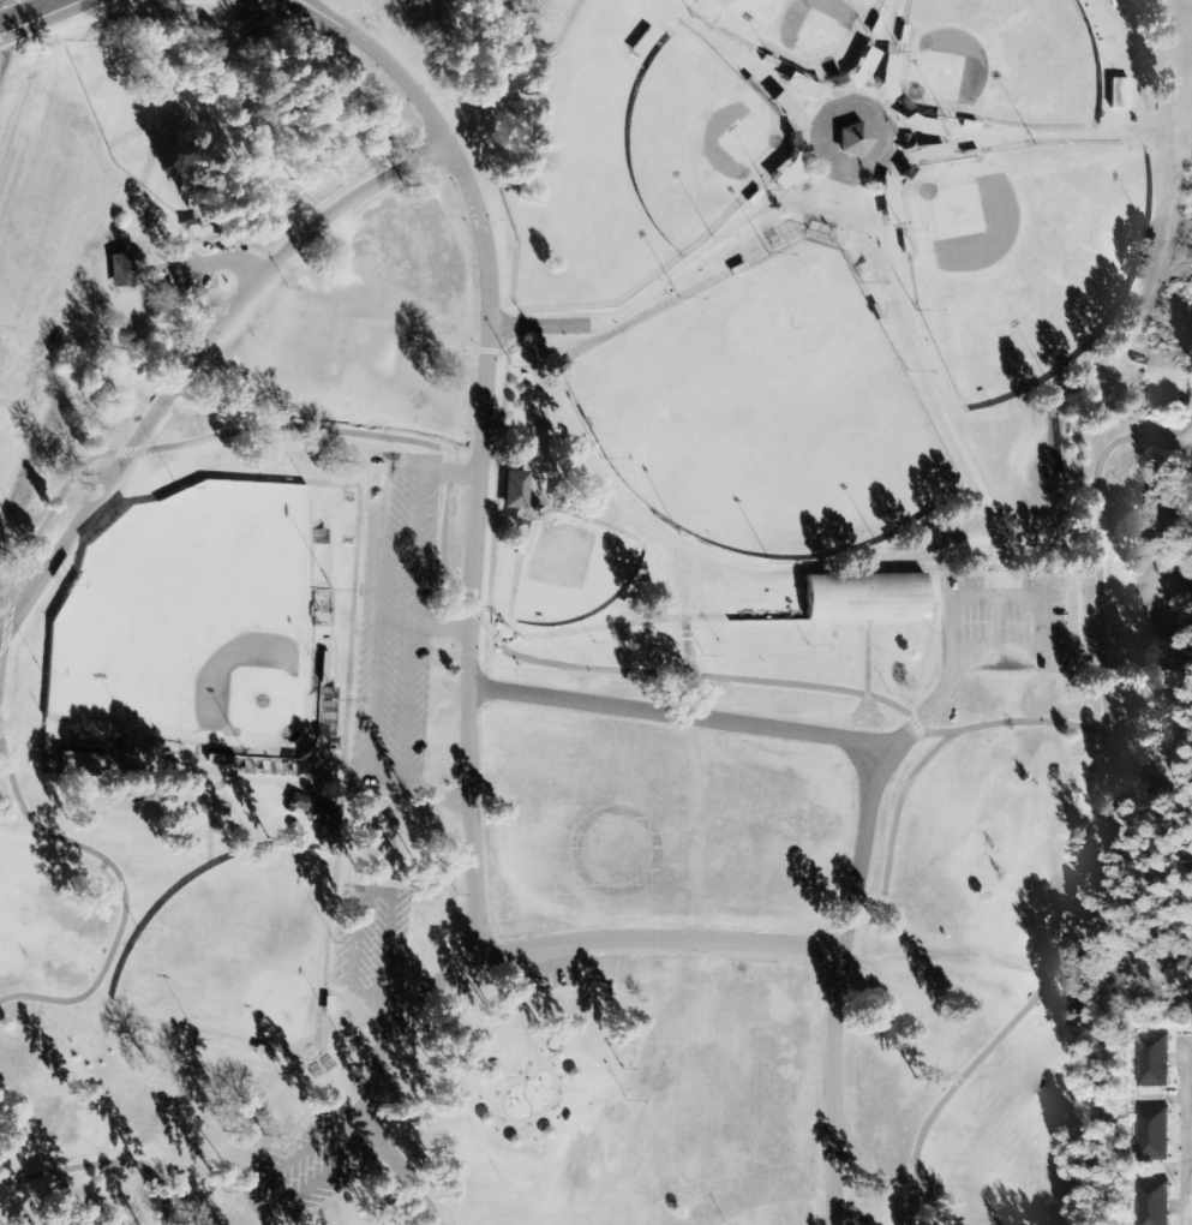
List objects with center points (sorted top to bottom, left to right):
road: (22, 8)
road: (307, 14)
road: (323, 14)
road: (46, 18)
park: (797, 30)
park: (1002, 62)
building: (1118, 94)
park: (697, 141)
building: (851, 141)
park: (1025, 256)
building: (120, 270)
road: (549, 325)
road: (196, 357)
park: (769, 416)
building: (515, 490)
road: (1097, 545)
building: (862, 597)
park: (589, 606)
parking lot: (1002, 621)
park: (192, 623)
road: (477, 640)
road: (865, 661)
road: (673, 671)
road: (739, 719)
building: (311, 758)
building: (296, 802)
road: (893, 820)
road: (121, 886)
road: (661, 937)
park: (240, 951)
road: (839, 976)
building: (1152, 1060)
water park: (543, 1093)
road: (1190, 1115)
road: (1187, 1133)
building: (1152, 1134)
road: (106, 1161)
building: (1151, 1203)

